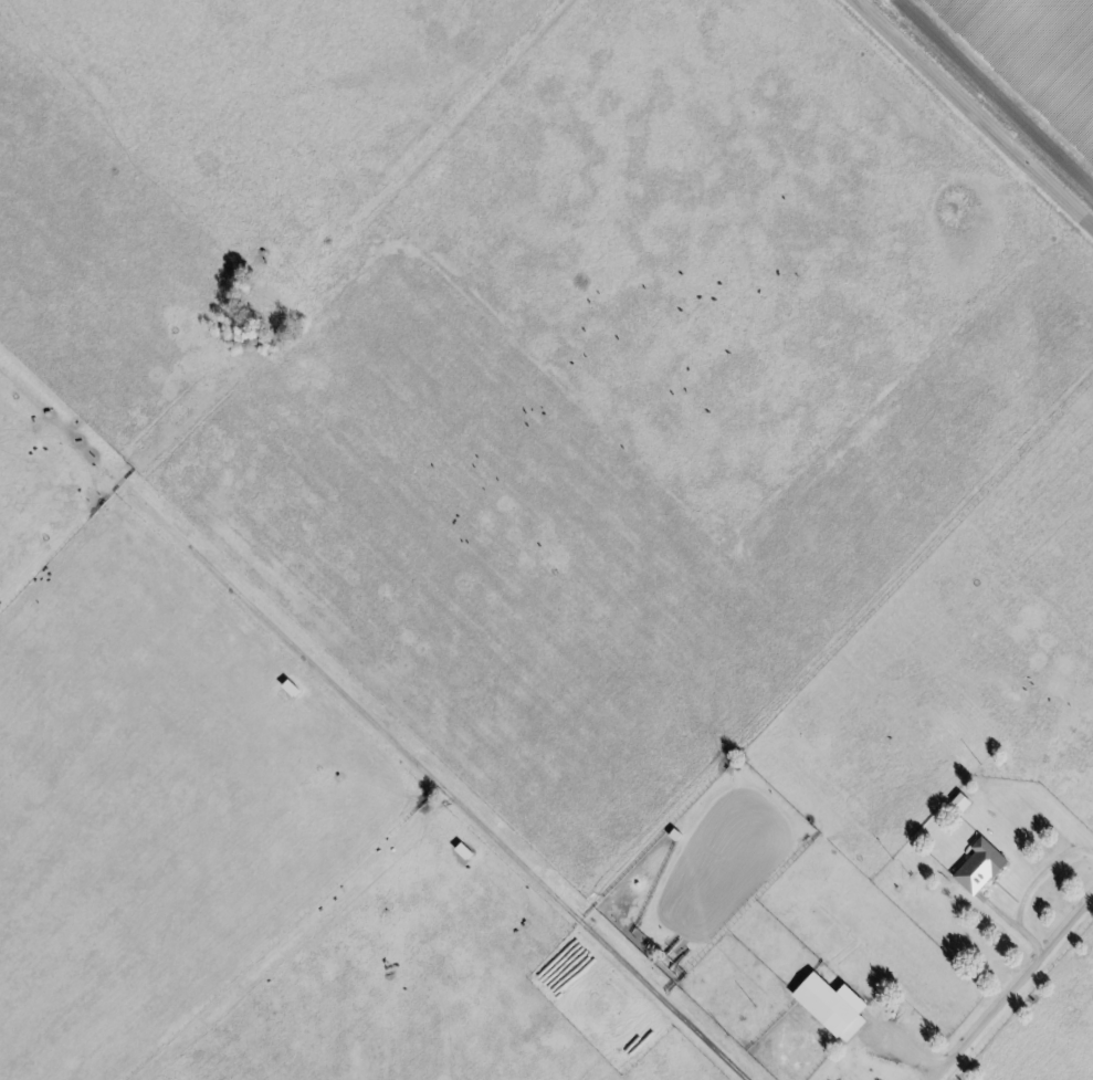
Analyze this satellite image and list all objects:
road: (977, 109)
road: (370, 720)
building: (981, 867)
road: (1039, 875)
road: (1012, 925)
road: (1016, 988)
building: (832, 1008)

